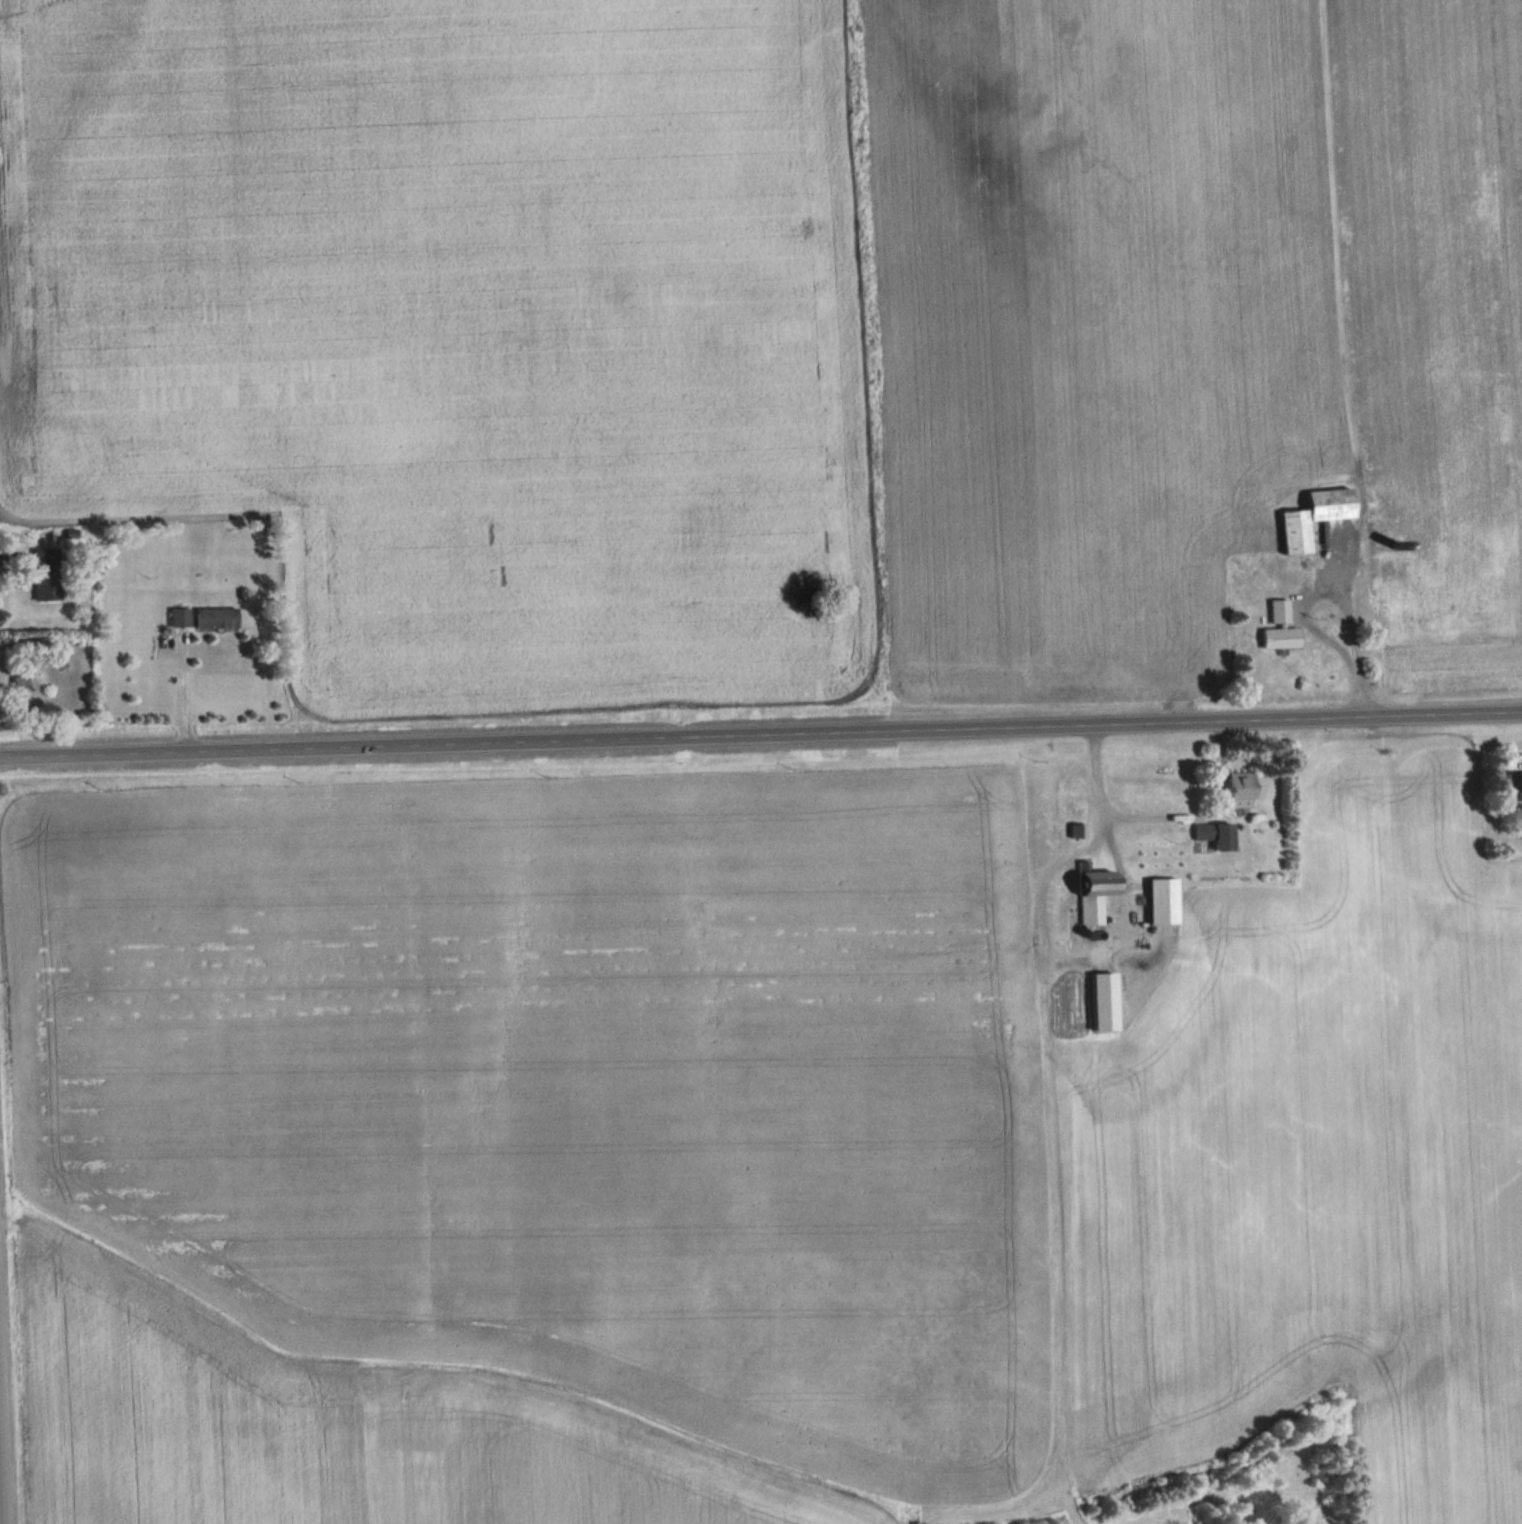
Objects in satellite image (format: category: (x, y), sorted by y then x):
building: (1314, 517)
building: (47, 575)
building: (180, 618)
building: (216, 618)
building: (1280, 629)
building: (21, 689)
road: (761, 741)
building: (1515, 784)
building: (1240, 790)
building: (1077, 817)
building: (1215, 836)
building: (1095, 896)
building: (1162, 902)
road: (3, 1443)

